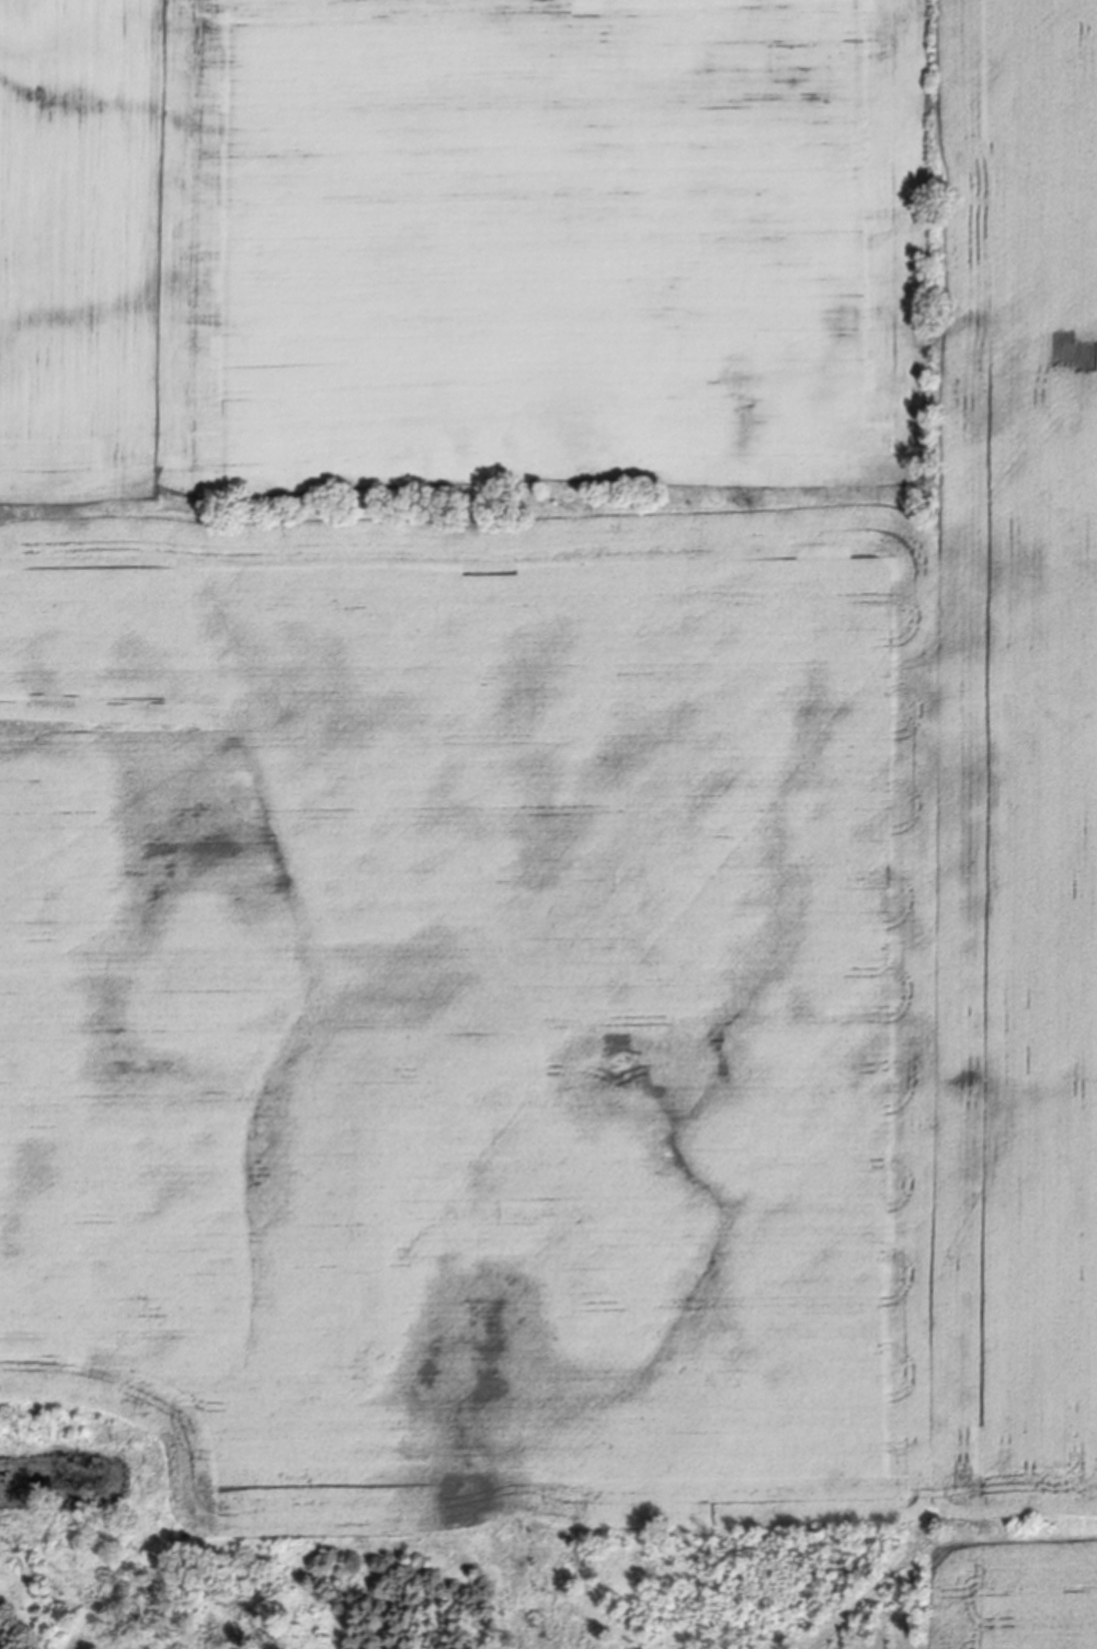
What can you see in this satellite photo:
building: (42, 1647)

